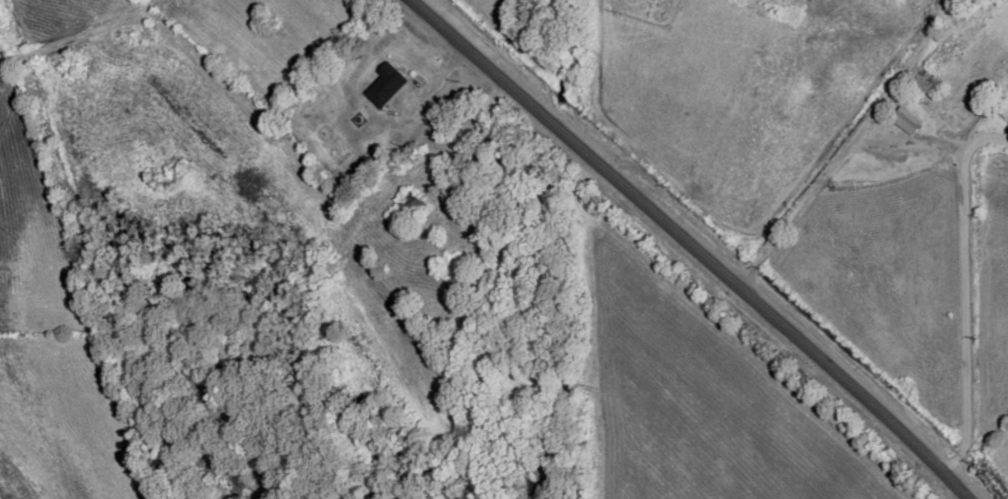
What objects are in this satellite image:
building: (909, 116)
road: (816, 188)
road: (691, 247)
road: (964, 292)

